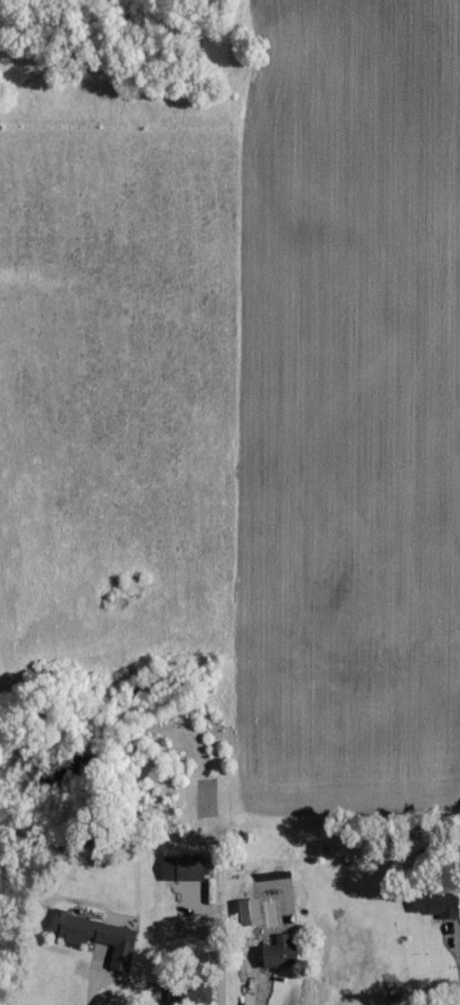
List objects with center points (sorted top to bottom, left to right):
building: (187, 867)
building: (434, 903)
building: (246, 910)
building: (95, 934)
building: (275, 949)
road: (98, 984)
building: (193, 990)
road: (224, 992)

